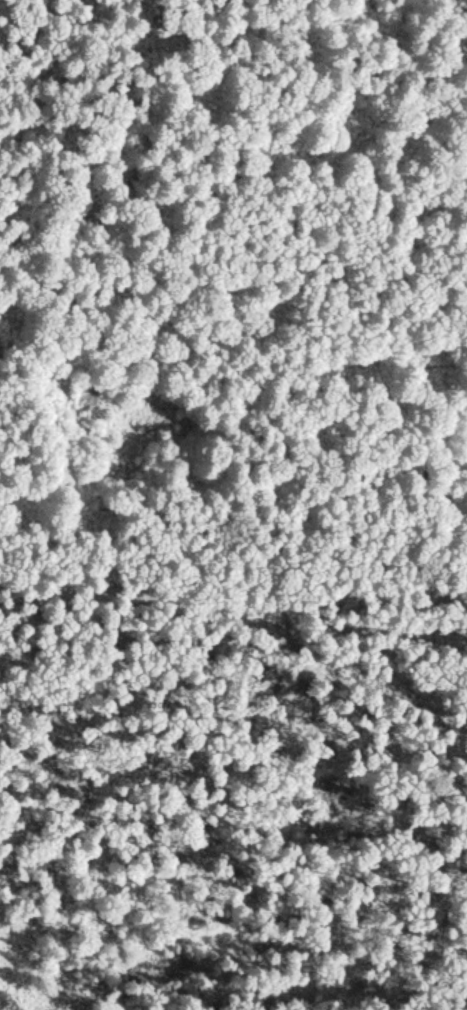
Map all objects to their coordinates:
road: (395, 912)

